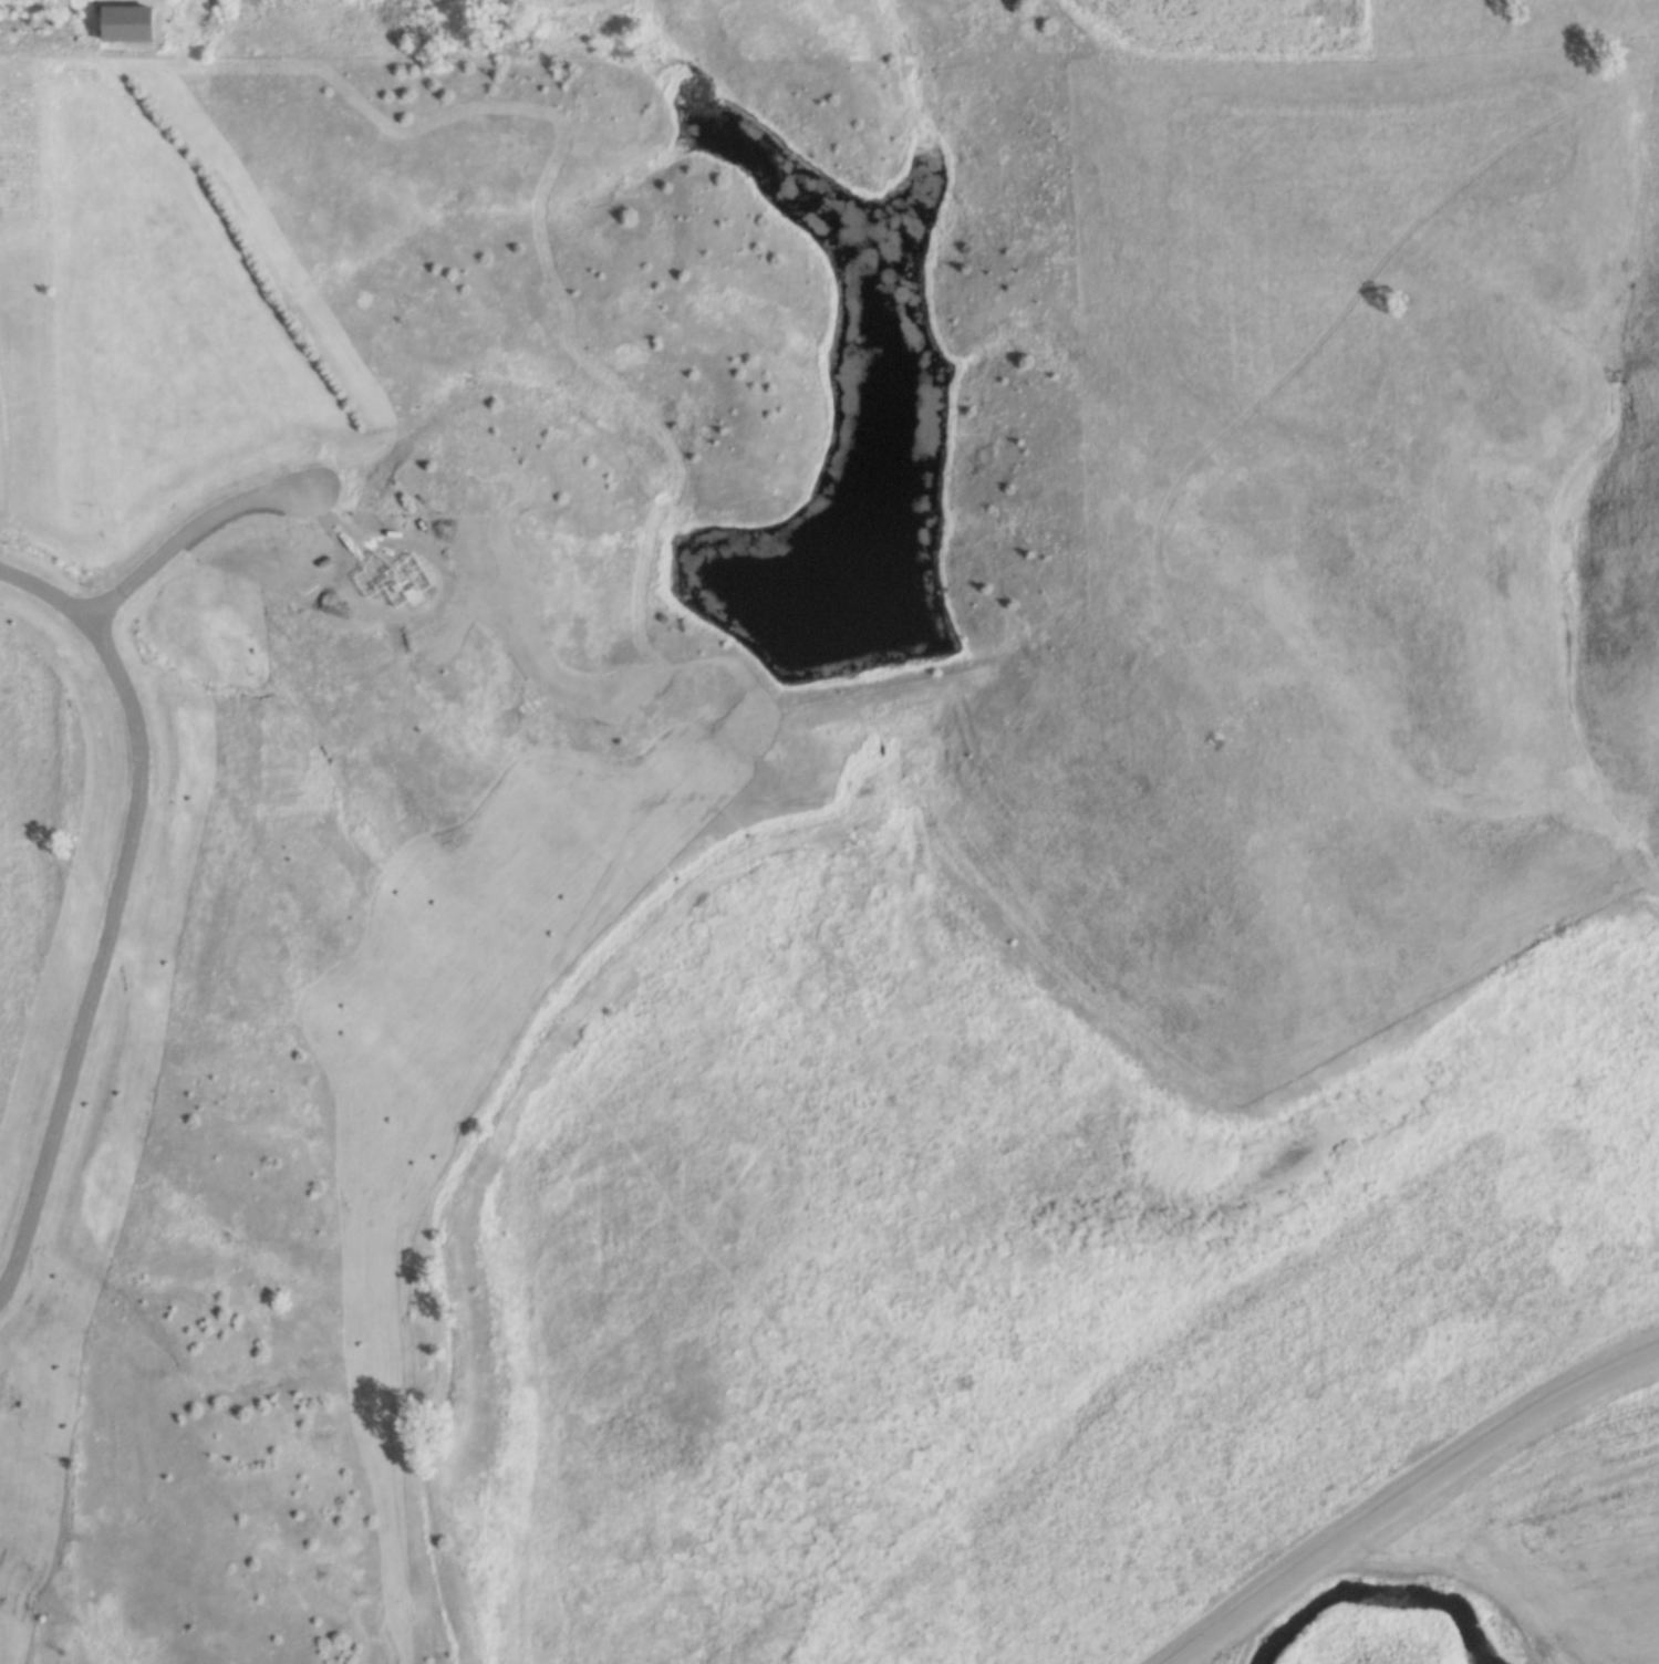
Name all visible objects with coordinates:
road: (185, 528)
road: (103, 906)
road: (1413, 1499)
river: (1373, 1592)

